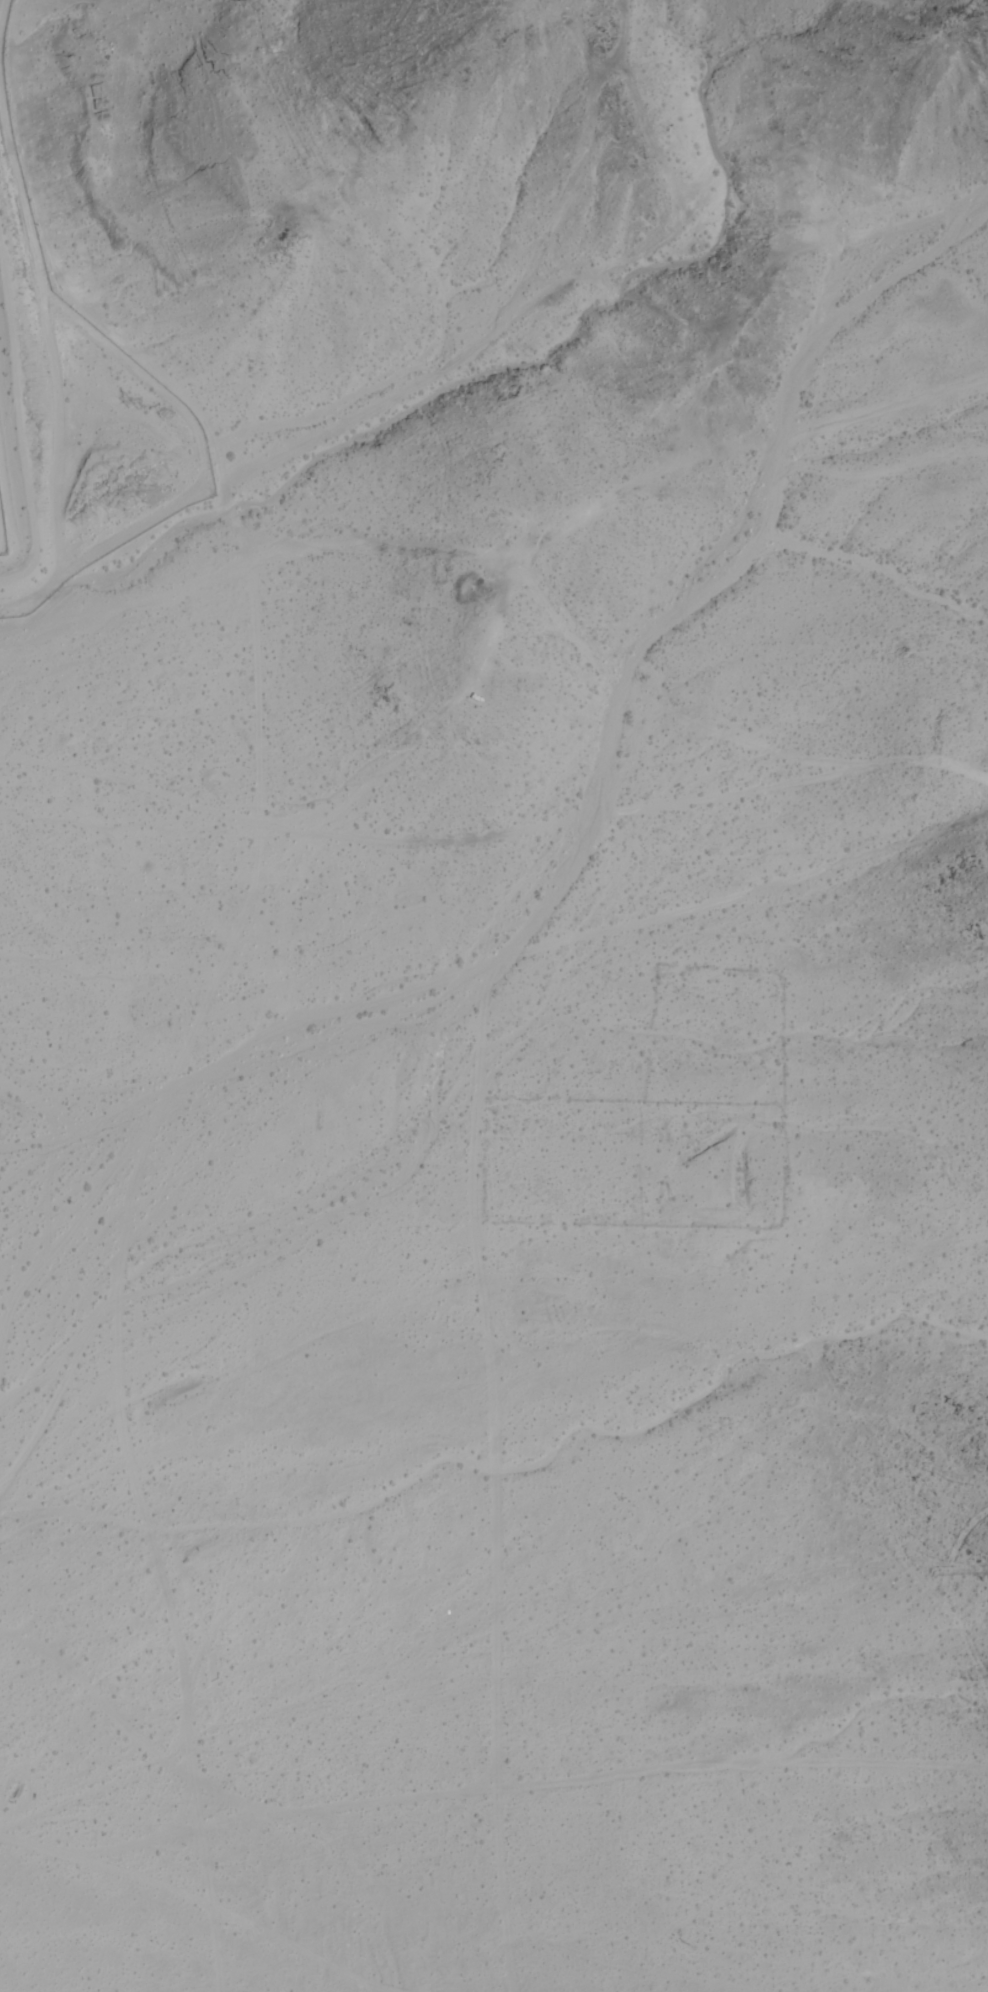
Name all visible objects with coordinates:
road: (507, 306)

